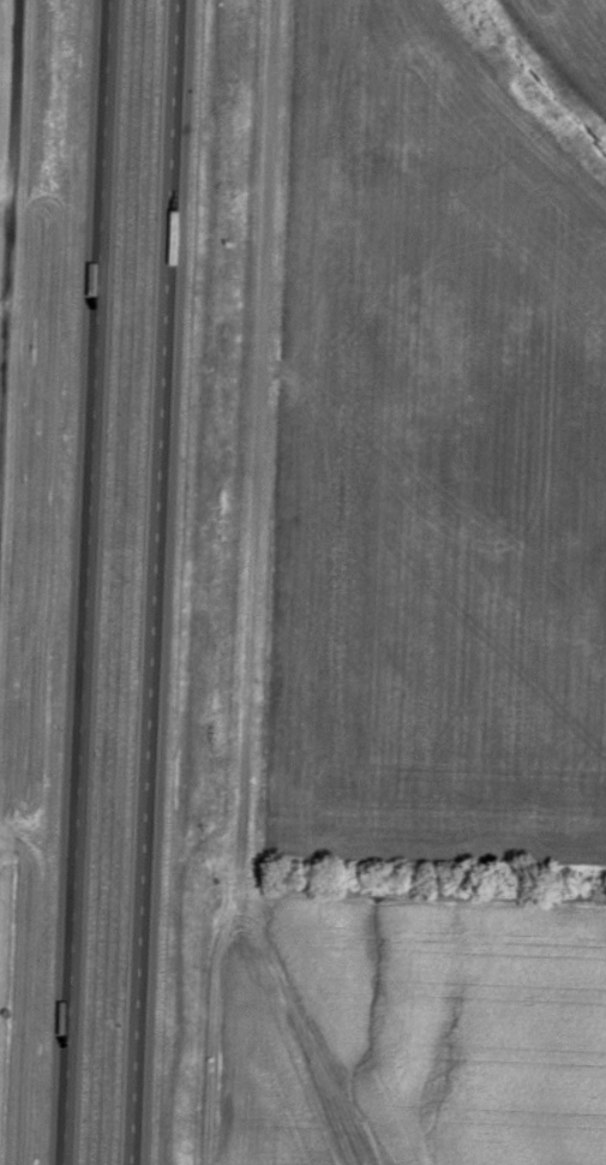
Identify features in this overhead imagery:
road: (6, 201)
road: (8, 251)
road: (88, 581)
road: (156, 581)

